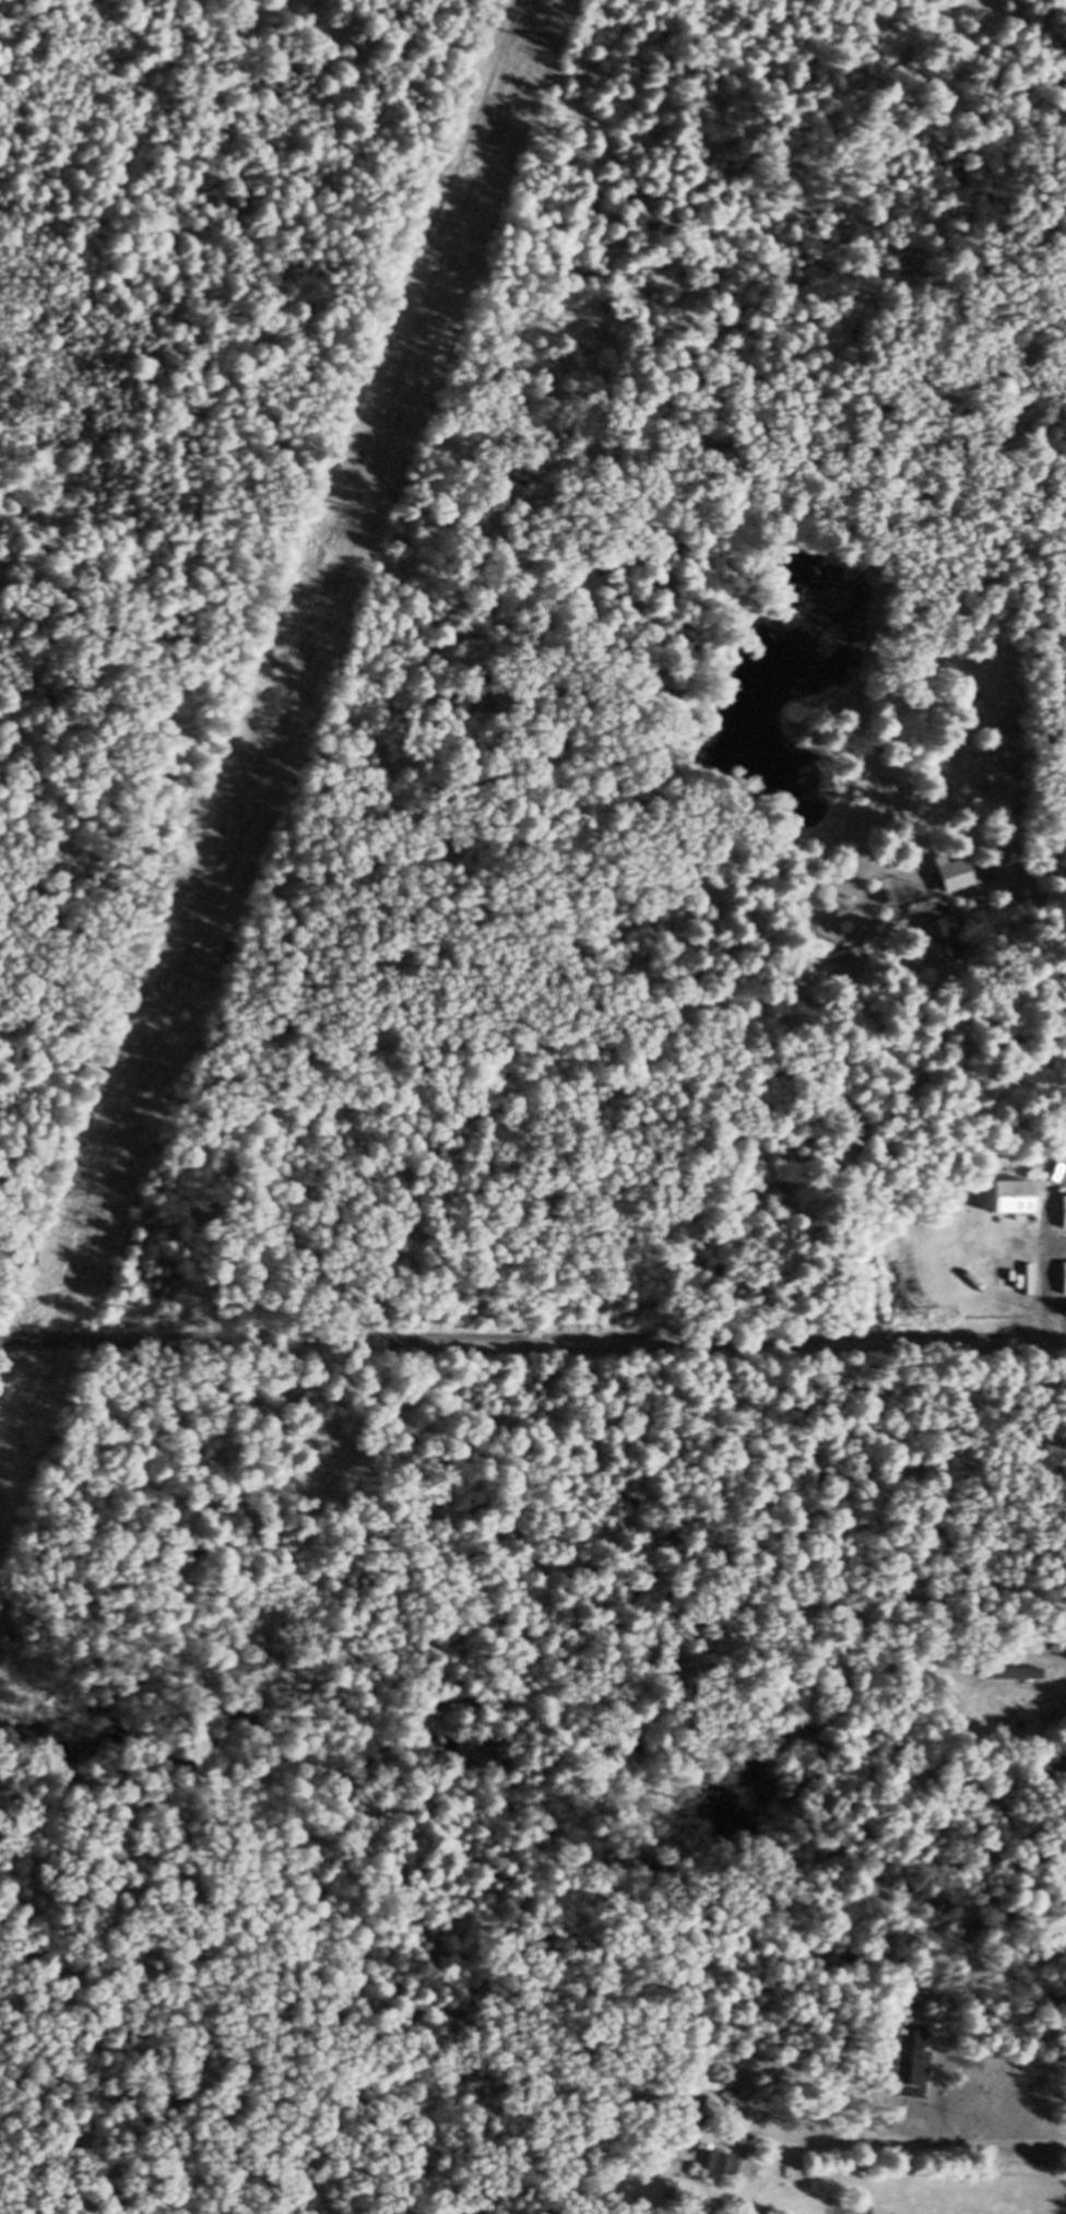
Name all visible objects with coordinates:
power tower: (516, 26)
power tower: (342, 487)
building: (981, 772)
building: (947, 874)
power tower: (177, 927)
building: (933, 938)
building: (1061, 1213)
building: (1061, 1279)
road: (532, 1341)
power tower: (25, 1367)
building: (905, 2063)
road: (865, 2124)
building: (718, 2165)

